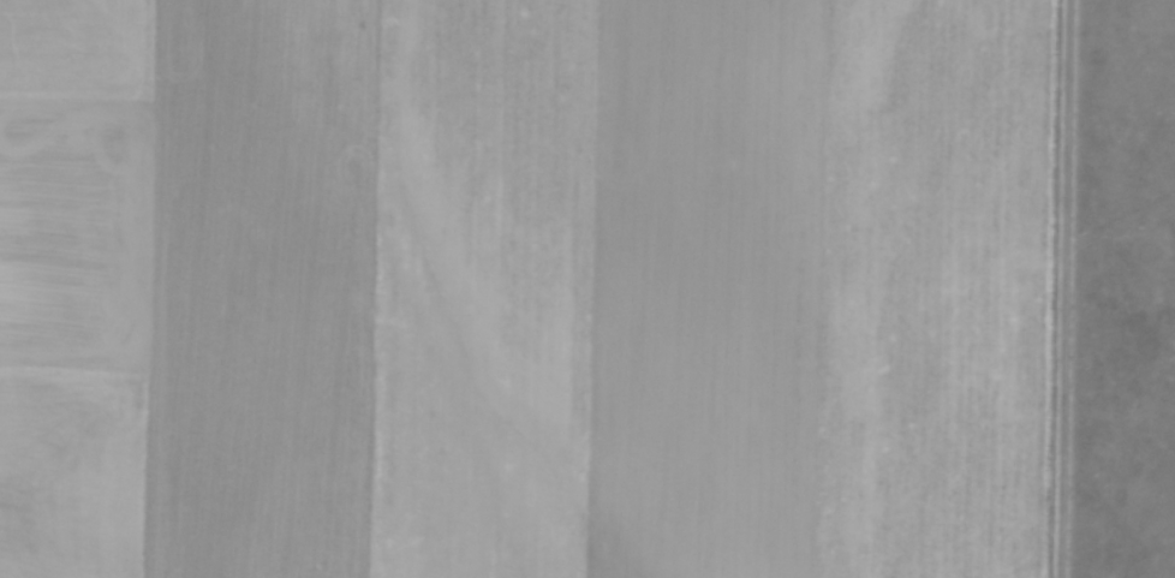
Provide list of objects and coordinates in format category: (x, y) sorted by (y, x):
crop: (531, 288)

